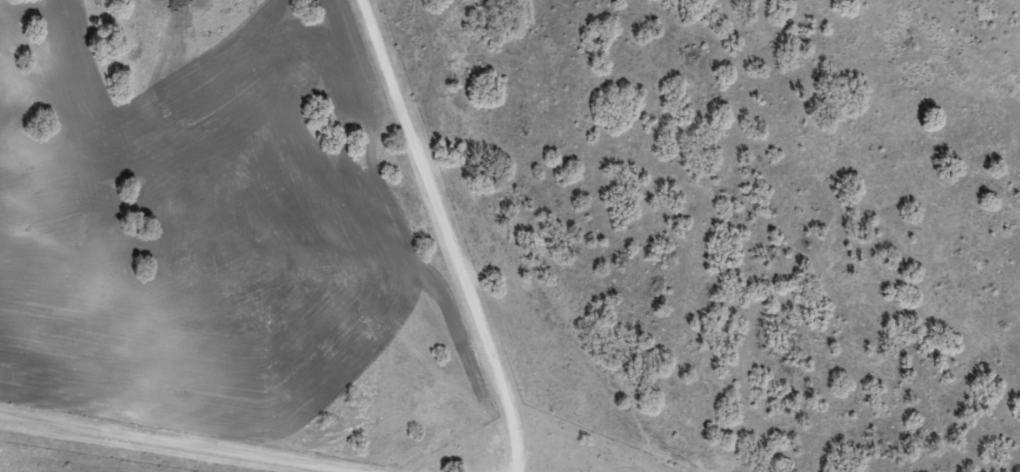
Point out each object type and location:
road: (159, 452)

